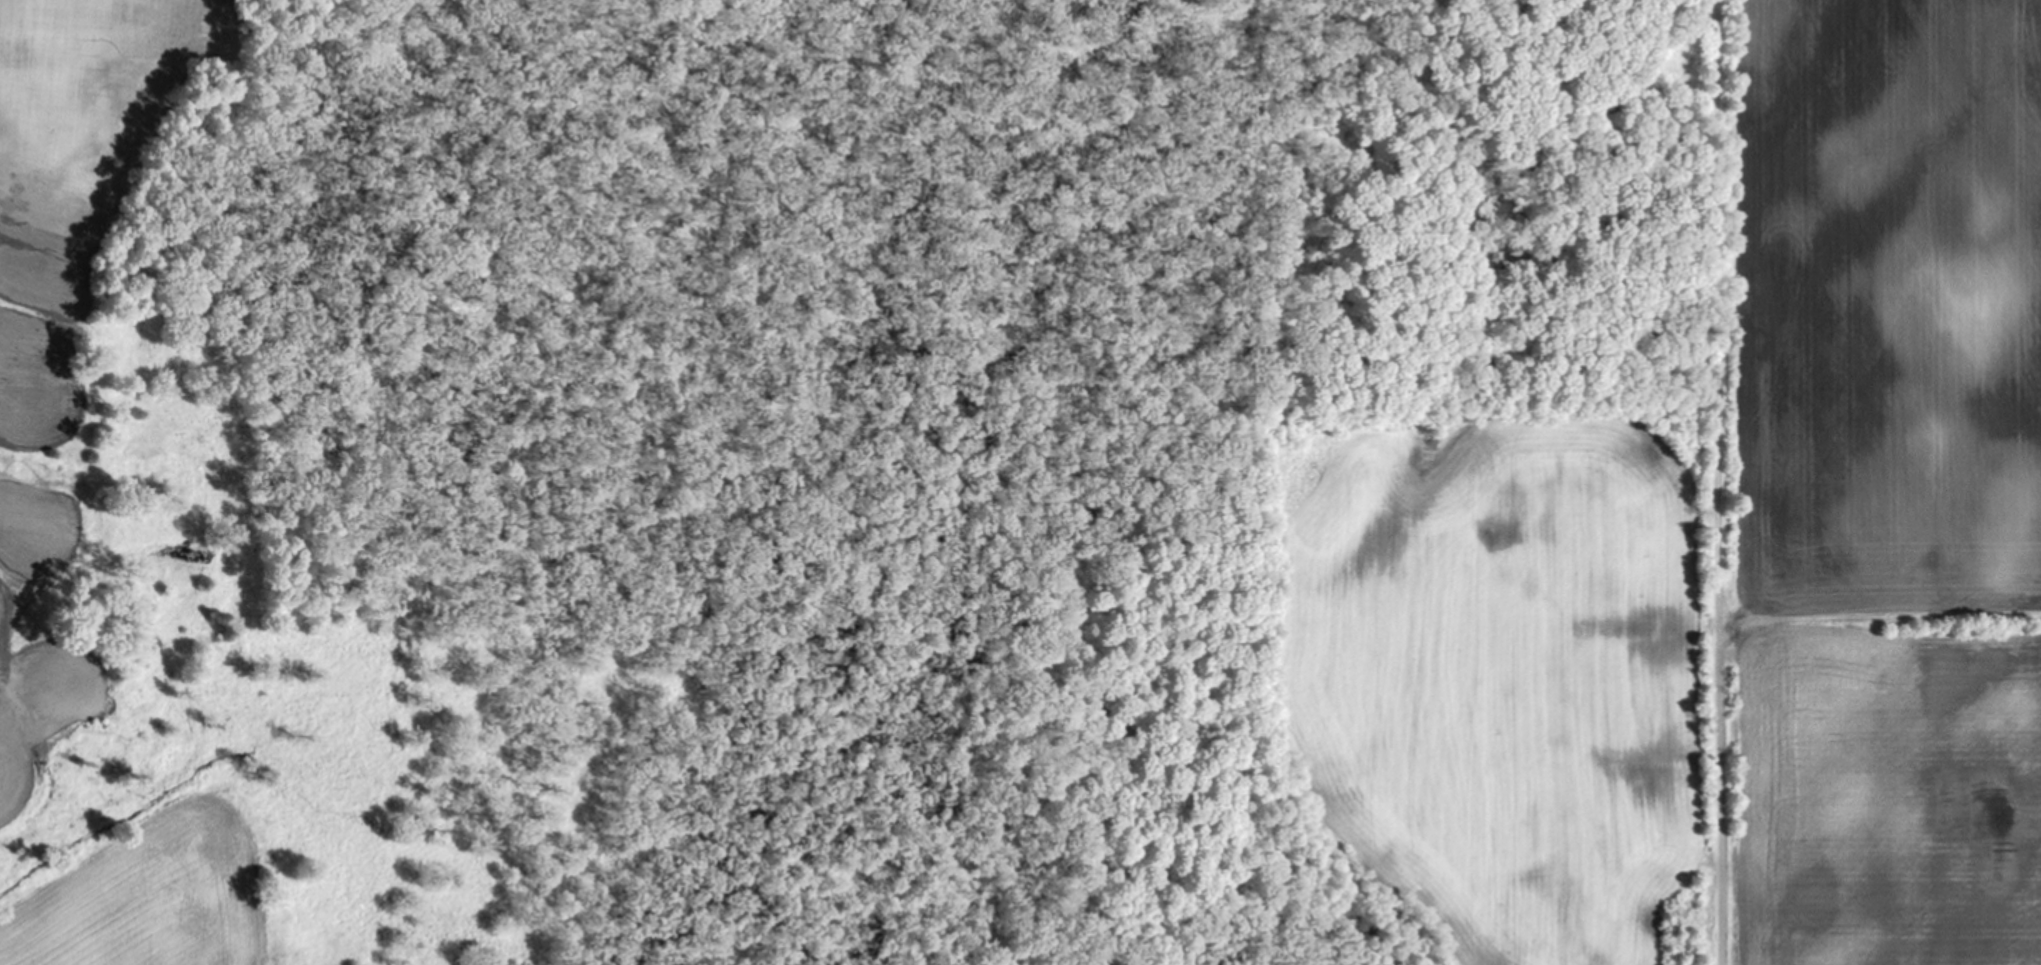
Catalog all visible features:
road: (1719, 801)

